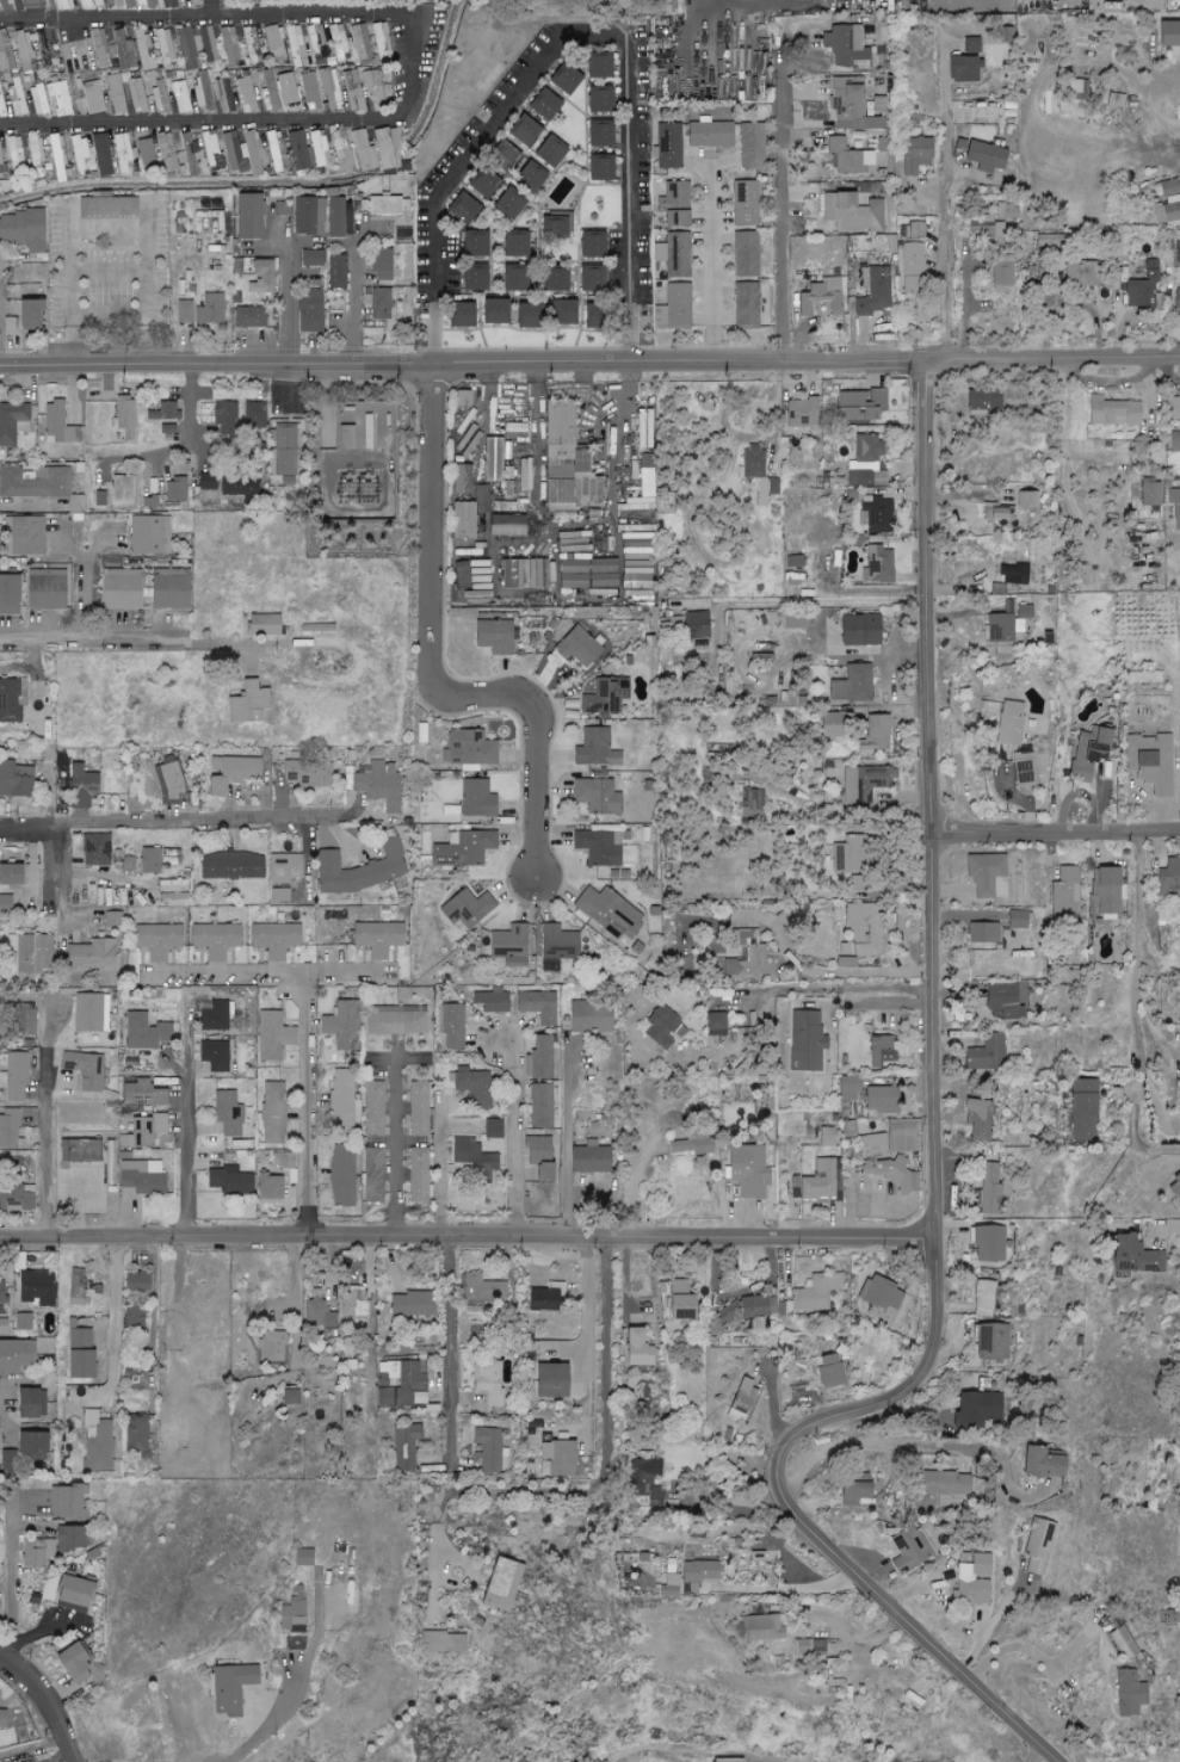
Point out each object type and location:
building: (6, 0)
building: (192, 2)
building: (58, 4)
building: (84, 4)
building: (101, 4)
building: (125, 4)
building: (147, 4)
building: (167, 4)
building: (1018, 4)
road: (211, 10)
road: (570, 31)
building: (1167, 33)
building: (203, 39)
building: (336, 41)
building: (274, 42)
building: (316, 42)
building: (970, 42)
building: (252, 44)
building: (381, 44)
building: (230, 45)
building: (360, 45)
building: (165, 47)
building: (295, 47)
building: (99, 48)
building: (847, 48)
building: (42, 49)
building: (124, 49)
building: (186, 49)
building: (144, 50)
building: (26, 51)
building: (5, 52)
building: (594, 67)
road: (401, 68)
road: (944, 69)
building: (962, 70)
road: (1169, 75)
building: (562, 80)
building: (200, 88)
building: (268, 88)
building: (328, 88)
building: (372, 88)
building: (666, 88)
building: (309, 89)
building: (288, 91)
building: (351, 91)
building: (1077, 91)
building: (115, 94)
building: (246, 94)
building: (136, 95)
building: (159, 95)
building: (16, 97)
building: (91, 97)
building: (180, 97)
building: (58, 98)
building: (38, 100)
building: (595, 100)
building: (1114, 100)
building: (0, 105)
building: (540, 105)
building: (851, 105)
building: (520, 130)
building: (597, 134)
building: (710, 135)
building: (668, 147)
building: (752, 147)
building: (383, 148)
building: (209, 149)
building: (317, 149)
building: (56, 150)
building: (274, 150)
building: (233, 152)
building: (252, 152)
building: (298, 152)
building: (362, 152)
building: (78, 153)
building: (123, 153)
building: (166, 153)
building: (190, 153)
building: (340, 153)
building: (546, 153)
building: (14, 154)
building: (35, 155)
building: (915, 155)
building: (981, 155)
building: (101, 156)
building: (146, 156)
building: (847, 157)
building: (502, 160)
building: (0, 165)
building: (597, 168)
building: (529, 178)
building: (480, 183)
building: (1170, 200)
building: (746, 203)
building: (505, 205)
building: (673, 205)
road: (780, 205)
building: (388, 206)
building: (458, 208)
building: (280, 209)
building: (1002, 212)
building: (851, 214)
building: (307, 215)
building: (246, 217)
building: (339, 218)
building: (104, 220)
building: (206, 222)
building: (552, 228)
building: (982, 228)
building: (23, 229)
building: (915, 230)
road: (945, 230)
building: (402, 235)
building: (1048, 241)
building: (471, 243)
building: (512, 245)
building: (890, 245)
building: (588, 246)
road: (144, 253)
building: (1176, 253)
building: (674, 254)
building: (746, 255)
building: (313, 259)
road: (715, 264)
building: (381, 265)
building: (236, 267)
building: (912, 267)
road: (109, 271)
building: (335, 272)
building: (1081, 273)
building: (1000, 276)
building: (261, 278)
building: (471, 278)
building: (511, 278)
building: (552, 278)
building: (588, 279)
building: (1143, 289)
building: (875, 293)
building: (821, 298)
building: (1176, 299)
road: (285, 302)
building: (381, 304)
road: (966, 305)
road: (353, 307)
building: (746, 307)
building: (673, 309)
road: (81, 311)
building: (309, 313)
building: (492, 313)
building: (197, 314)
building: (25, 315)
building: (543, 315)
building: (458, 316)
building: (248, 317)
building: (7, 327)
road: (589, 364)
road: (1168, 372)
road: (631, 390)
building: (463, 398)
building: (982, 400)
building: (858, 404)
building: (1174, 408)
building: (162, 410)
building: (1112, 412)
building: (799, 413)
building: (123, 418)
building: (12, 422)
building: (57, 424)
building: (326, 425)
building: (643, 428)
building: (365, 432)
building: (346, 437)
building: (1174, 441)
road: (185, 447)
building: (285, 450)
building: (493, 459)
building: (866, 462)
power substation: (360, 464)
building: (758, 472)
building: (524, 475)
building: (634, 476)
building: (462, 480)
building: (41, 486)
building: (239, 486)
building: (121, 487)
building: (351, 487)
building: (173, 489)
building: (1150, 493)
building: (1173, 495)
building: (487, 496)
building: (642, 496)
building: (100, 497)
building: (1025, 499)
building: (996, 513)
building: (873, 514)
building: (1174, 514)
building: (462, 520)
building: (506, 525)
building: (820, 532)
building: (23, 534)
building: (574, 542)
building: (637, 556)
building: (792, 557)
building: (877, 564)
building: (527, 573)
building: (588, 573)
building: (1009, 573)
building: (477, 580)
building: (119, 588)
building: (44, 589)
building: (168, 589)
building: (601, 592)
building: (8, 594)
building: (535, 599)
road: (818, 606)
building: (792, 620)
building: (260, 624)
building: (691, 627)
building: (857, 630)
building: (493, 636)
road: (101, 639)
building: (576, 647)
road: (434, 672)
building: (852, 685)
building: (604, 695)
building: (12, 699)
building: (246, 701)
building: (284, 706)
building: (1008, 723)
building: (828, 724)
building: (420, 732)
building: (876, 735)
building: (469, 747)
building: (594, 748)
building: (1086, 753)
building: (1150, 761)
building: (1023, 769)
building: (230, 772)
building: (308, 773)
building: (14, 779)
building: (169, 781)
building: (864, 784)
building: (80, 786)
building: (377, 786)
building: (977, 786)
building: (595, 796)
building: (476, 798)
building: (753, 804)
road: (166, 823)
road: (1056, 833)
building: (600, 846)
building: (462, 848)
building: (94, 849)
building: (847, 854)
building: (149, 860)
building: (126, 863)
building: (231, 866)
building: (283, 867)
building: (358, 868)
building: (8, 873)
building: (986, 874)
road: (62, 877)
building: (1167, 877)
building: (1107, 894)
building: (278, 895)
building: (1064, 895)
building: (89, 896)
building: (5, 904)
building: (461, 909)
building: (608, 913)
building: (1015, 920)
building: (865, 927)
building: (983, 933)
building: (377, 938)
building: (215, 939)
building: (273, 939)
building: (157, 940)
building: (508, 945)
building: (555, 946)
road: (1136, 953)
building: (29, 954)
building: (89, 954)
building: (747, 956)
road: (267, 971)
road: (855, 972)
building: (717, 993)
building: (1000, 1000)
building: (490, 1001)
building: (537, 1006)
building: (91, 1012)
building: (214, 1015)
building: (588, 1016)
building: (396, 1020)
building: (1, 1021)
building: (27, 1024)
building: (716, 1024)
building: (342, 1025)
building: (451, 1026)
building: (662, 1027)
building: (137, 1032)
building: (271, 1035)
building: (805, 1040)
building: (879, 1050)
building: (988, 1053)
building: (214, 1055)
building: (539, 1057)
building: (85, 1070)
building: (14, 1075)
building: (474, 1087)
building: (847, 1088)
building: (142, 1094)
building: (881, 1099)
building: (342, 1100)
road: (307, 1102)
building: (539, 1106)
building: (373, 1108)
road: (48, 1109)
building: (418, 1109)
building: (1085, 1109)
building: (272, 1112)
building: (227, 1113)
building: (1178, 1114)
building: (977, 1120)
building: (494, 1127)
building: (8, 1129)
road: (187, 1129)
building: (143, 1131)
road: (1131, 1132)
building: (826, 1137)
road: (567, 1138)
road: (396, 1139)
building: (890, 1139)
road: (520, 1140)
building: (691, 1143)
building: (79, 1150)
building: (472, 1155)
building: (537, 1156)
building: (283, 1160)
building: (588, 1160)
road: (443, 1169)
building: (748, 1170)
building: (890, 1173)
building: (373, 1174)
building: (418, 1175)
building: (142, 1176)
building: (341, 1176)
road: (938, 1177)
building: (229, 1181)
building: (818, 1181)
building: (268, 1187)
building: (1173, 1187)
building: (990, 1189)
road: (123, 1192)
building: (17, 1198)
road: (89, 1201)
road: (1169, 1225)
road: (469, 1238)
building: (987, 1243)
building: (1132, 1255)
building: (136, 1281)
building: (76, 1286)
building: (35, 1288)
building: (483, 1288)
building: (1, 1291)
building: (816, 1293)
building: (984, 1298)
building: (879, 1299)
building: (679, 1300)
building: (545, 1302)
building: (353, 1303)
road: (298, 1304)
building: (410, 1304)
building: (762, 1306)
building: (320, 1316)
building: (132, 1318)
building: (2, 1327)
road: (115, 1328)
building: (990, 1342)
road: (451, 1344)
building: (274, 1347)
building: (635, 1349)
building: (29, 1352)
building: (76, 1354)
building: (11, 1355)
building: (827, 1371)
building: (548, 1380)
building: (403, 1384)
building: (488, 1384)
building: (288, 1396)
building: (741, 1401)
building: (24, 1404)
building: (41, 1409)
building: (977, 1409)
building: (169, 1435)
building: (135, 1436)
road: (608, 1440)
building: (93, 1445)
building: (406, 1446)
road: (922, 1446)
building: (29, 1447)
building: (492, 1452)
building: (556, 1459)
building: (648, 1480)
building: (945, 1485)
building: (851, 1492)
building: (63, 1502)
building: (51, 1546)
building: (909, 1547)
building: (1037, 1547)
building: (301, 1558)
building: (971, 1565)
building: (697, 1576)
road: (13, 1579)
building: (498, 1584)
building: (669, 1585)
road: (787, 1588)
building: (975, 1593)
building: (70, 1594)
building: (292, 1613)
building: (1168, 1618)
building: (761, 1627)
building: (441, 1642)
building: (1123, 1643)
building: (809, 1646)
building: (70, 1665)
building: (229, 1688)
building: (1126, 1693)
road: (48, 1700)
building: (1, 1718)
road: (266, 1725)
road: (1051, 1758)
building: (727, 1760)

